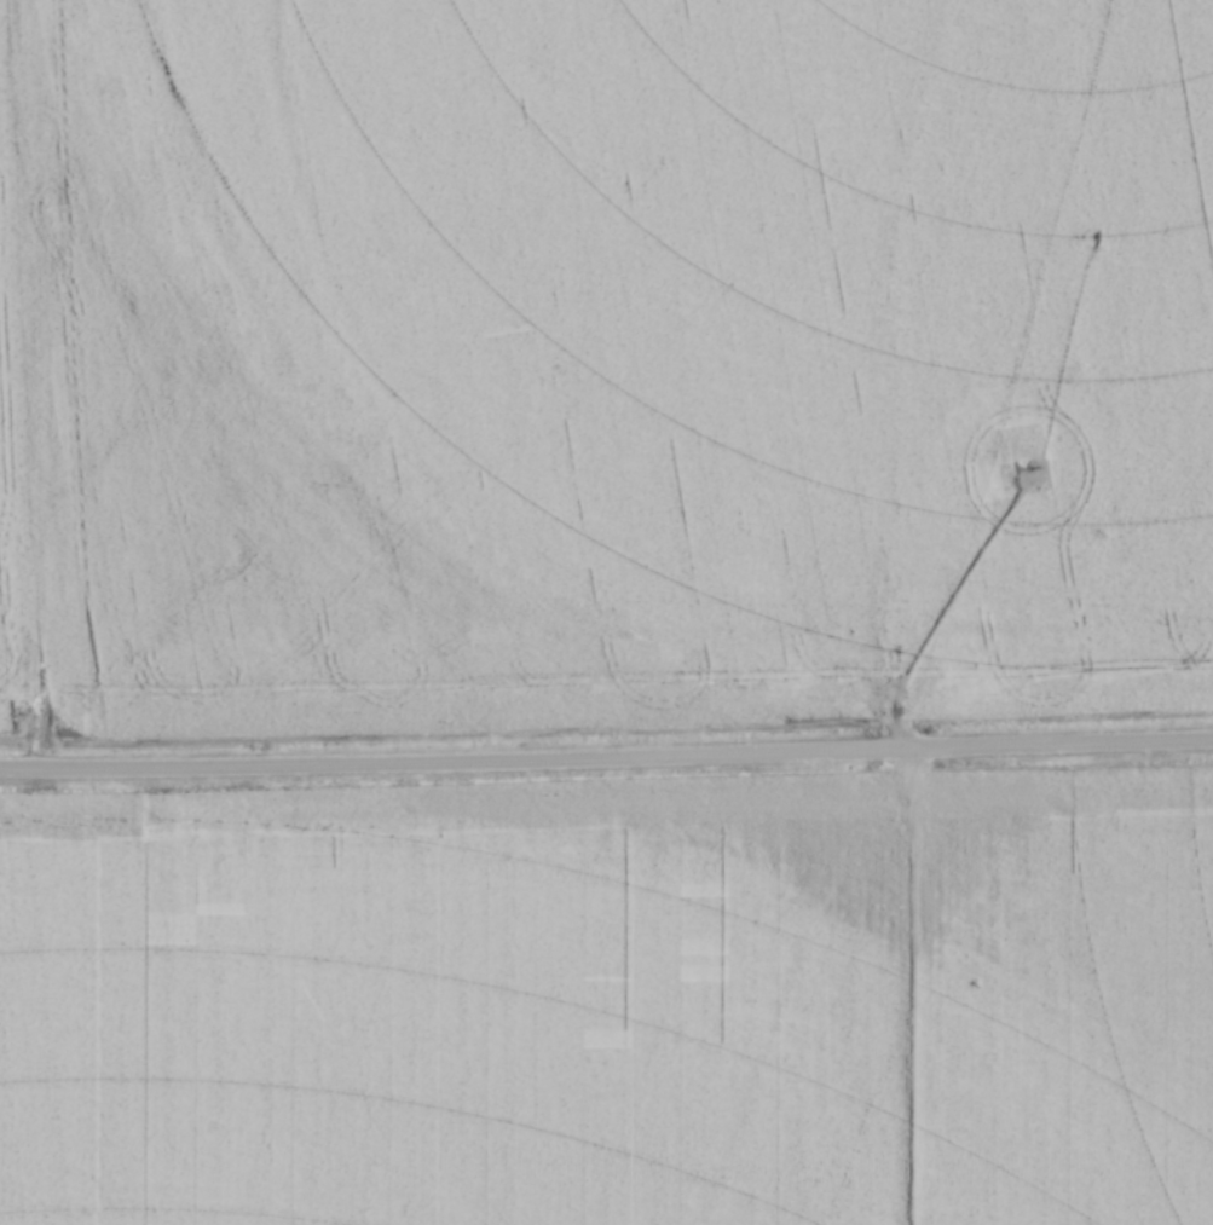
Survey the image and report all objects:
road: (606, 756)

